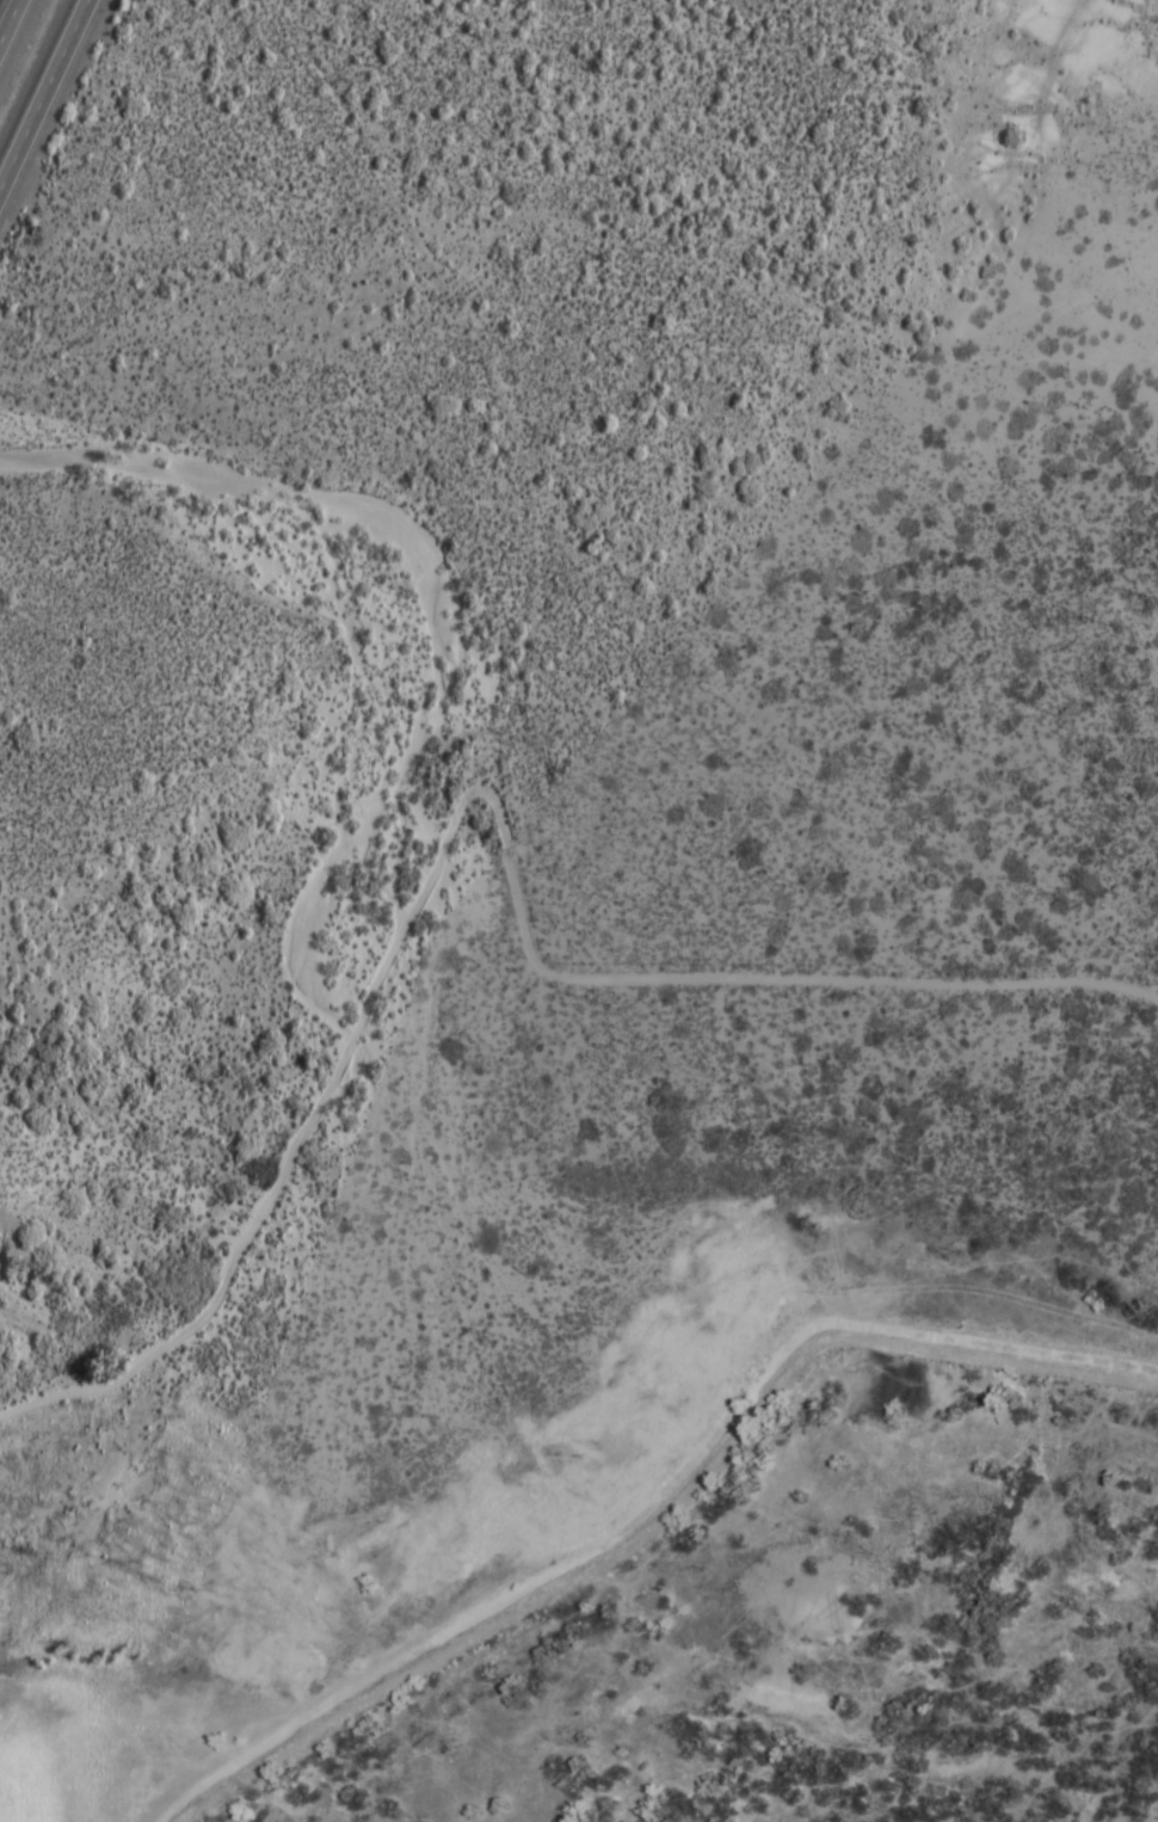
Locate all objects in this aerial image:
road: (8, 19)
road: (43, 94)
road: (494, 380)
road: (407, 915)
river: (300, 922)
road: (739, 978)
road: (271, 1193)
road: (85, 1387)
road: (667, 1514)

